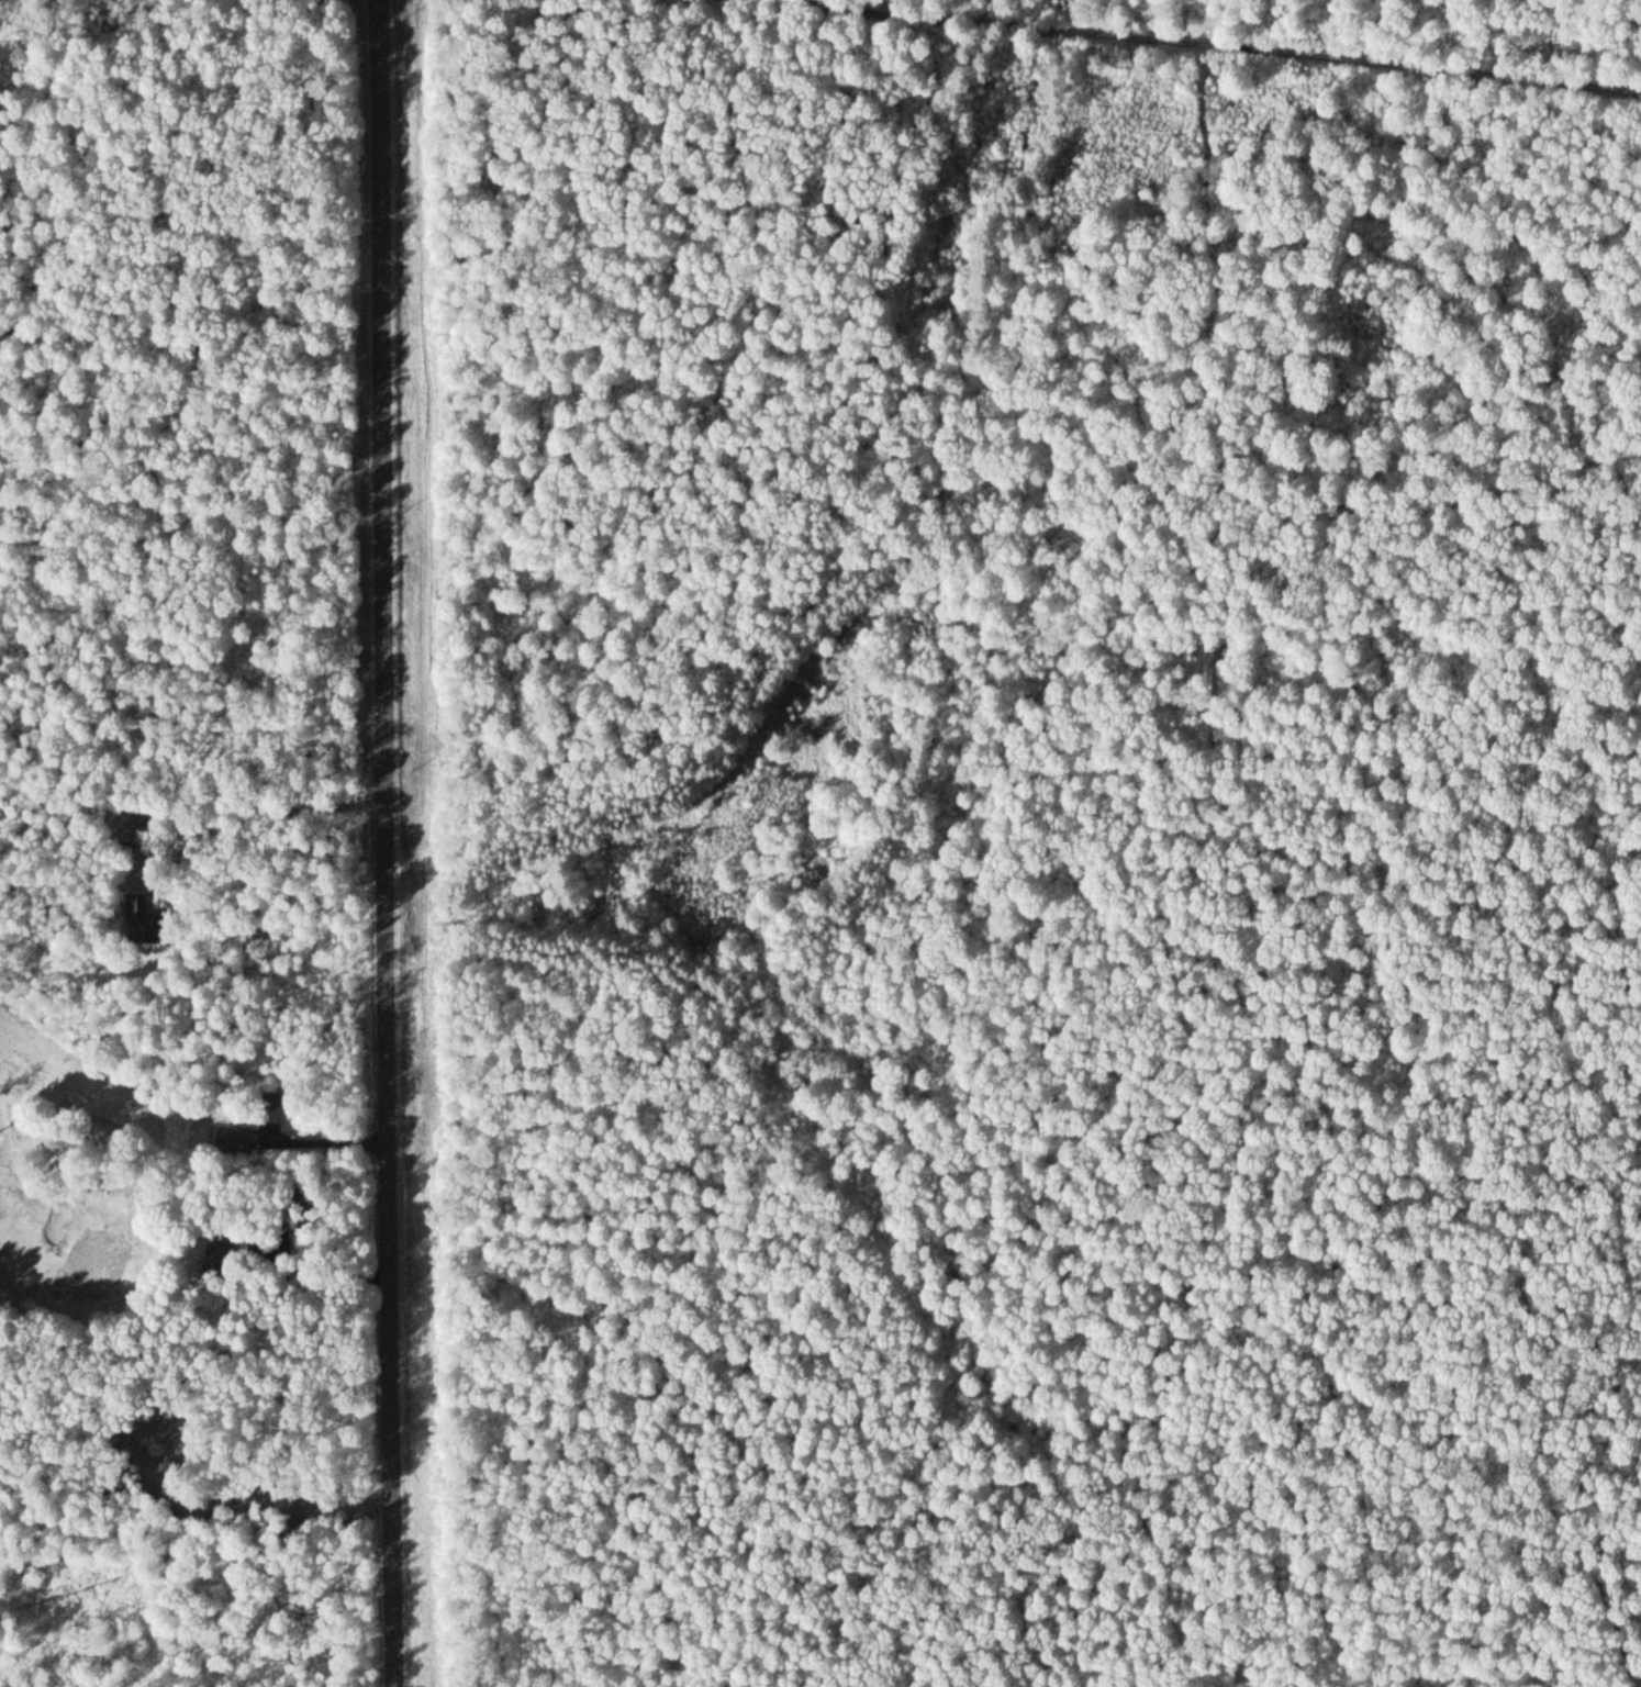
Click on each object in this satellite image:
road: (1209, 46)
building: (132, 820)
road: (389, 843)
building: (136, 916)
building: (269, 1104)
building: (232, 1137)
park: (102, 1148)

